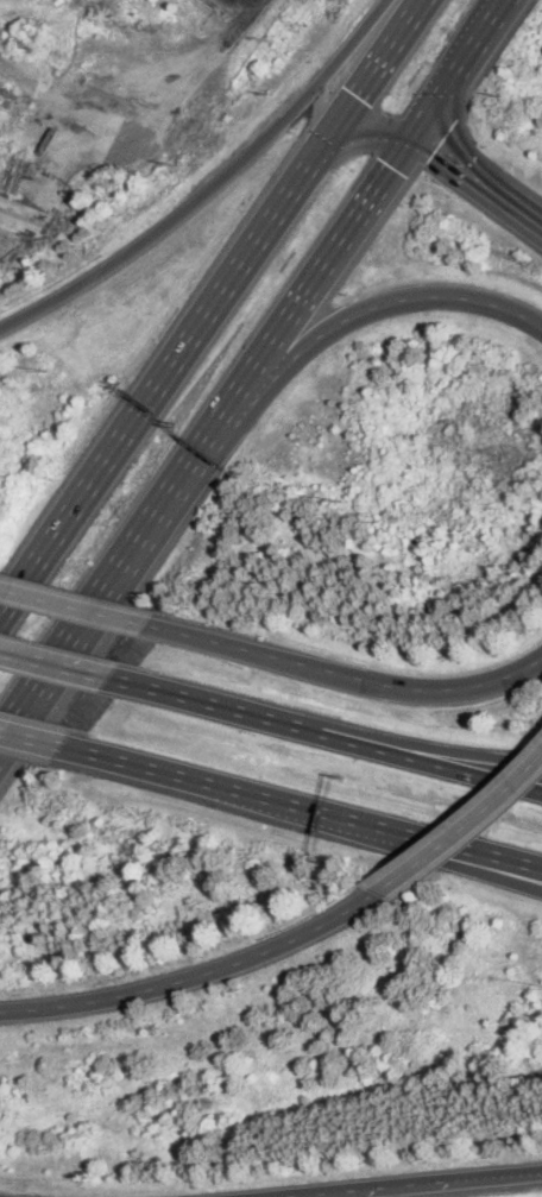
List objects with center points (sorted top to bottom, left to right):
road: (378, 67)
road: (462, 67)
traffic signals: (359, 95)
road: (374, 126)
traffic signals: (436, 149)
traffic signals: (395, 166)
road: (479, 179)
road: (210, 187)
road: (302, 297)
road: (344, 320)
road: (165, 373)
road: (75, 605)
road: (97, 605)
road: (57, 666)
road: (346, 674)
road: (328, 736)
road: (40, 739)
road: (393, 741)
road: (229, 792)
road: (464, 831)
road: (461, 850)
road: (461, 858)
road: (196, 976)
road: (411, 1184)

